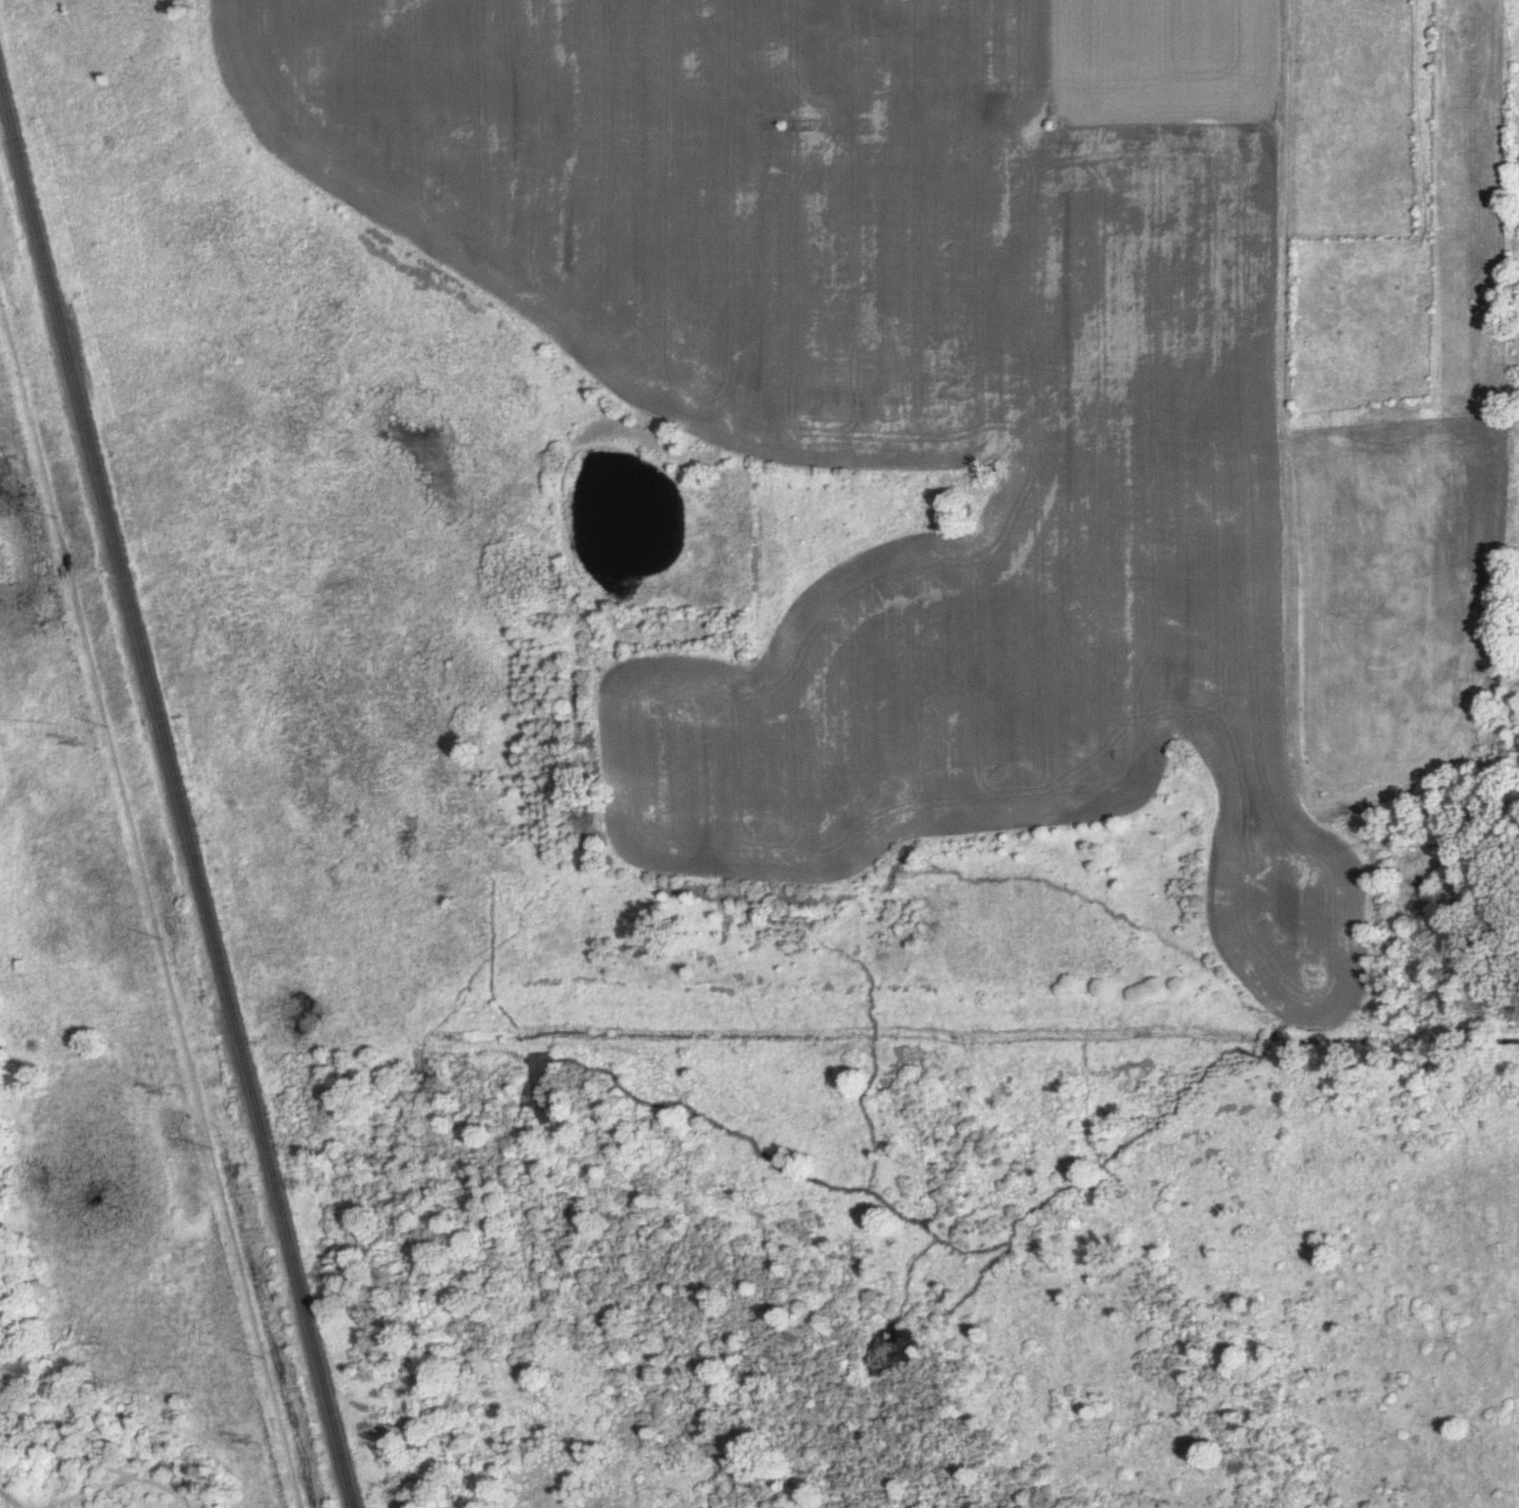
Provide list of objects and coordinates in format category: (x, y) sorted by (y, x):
power tower: (2, 391)
power tower: (87, 744)
railway: (176, 788)
power tower: (172, 1093)
power tower: (258, 1442)

